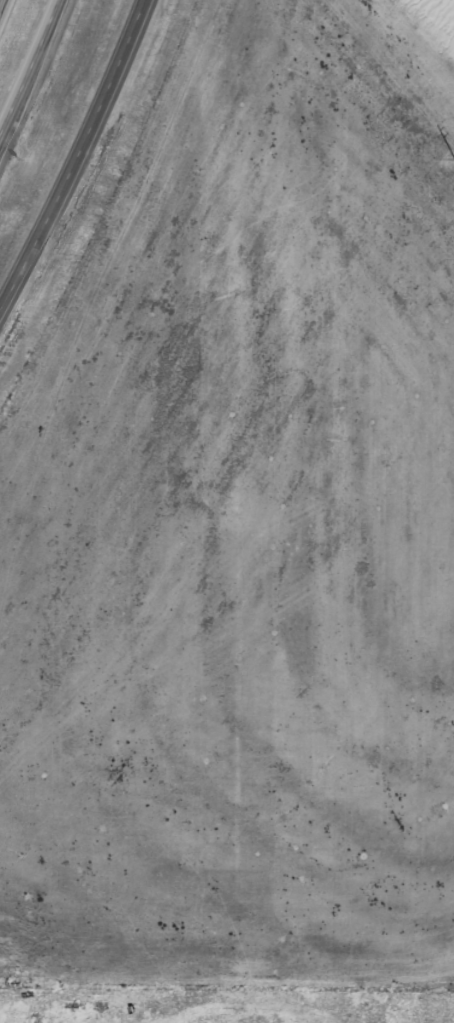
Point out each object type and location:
road: (0, 1)
road: (29, 63)
road: (73, 153)

